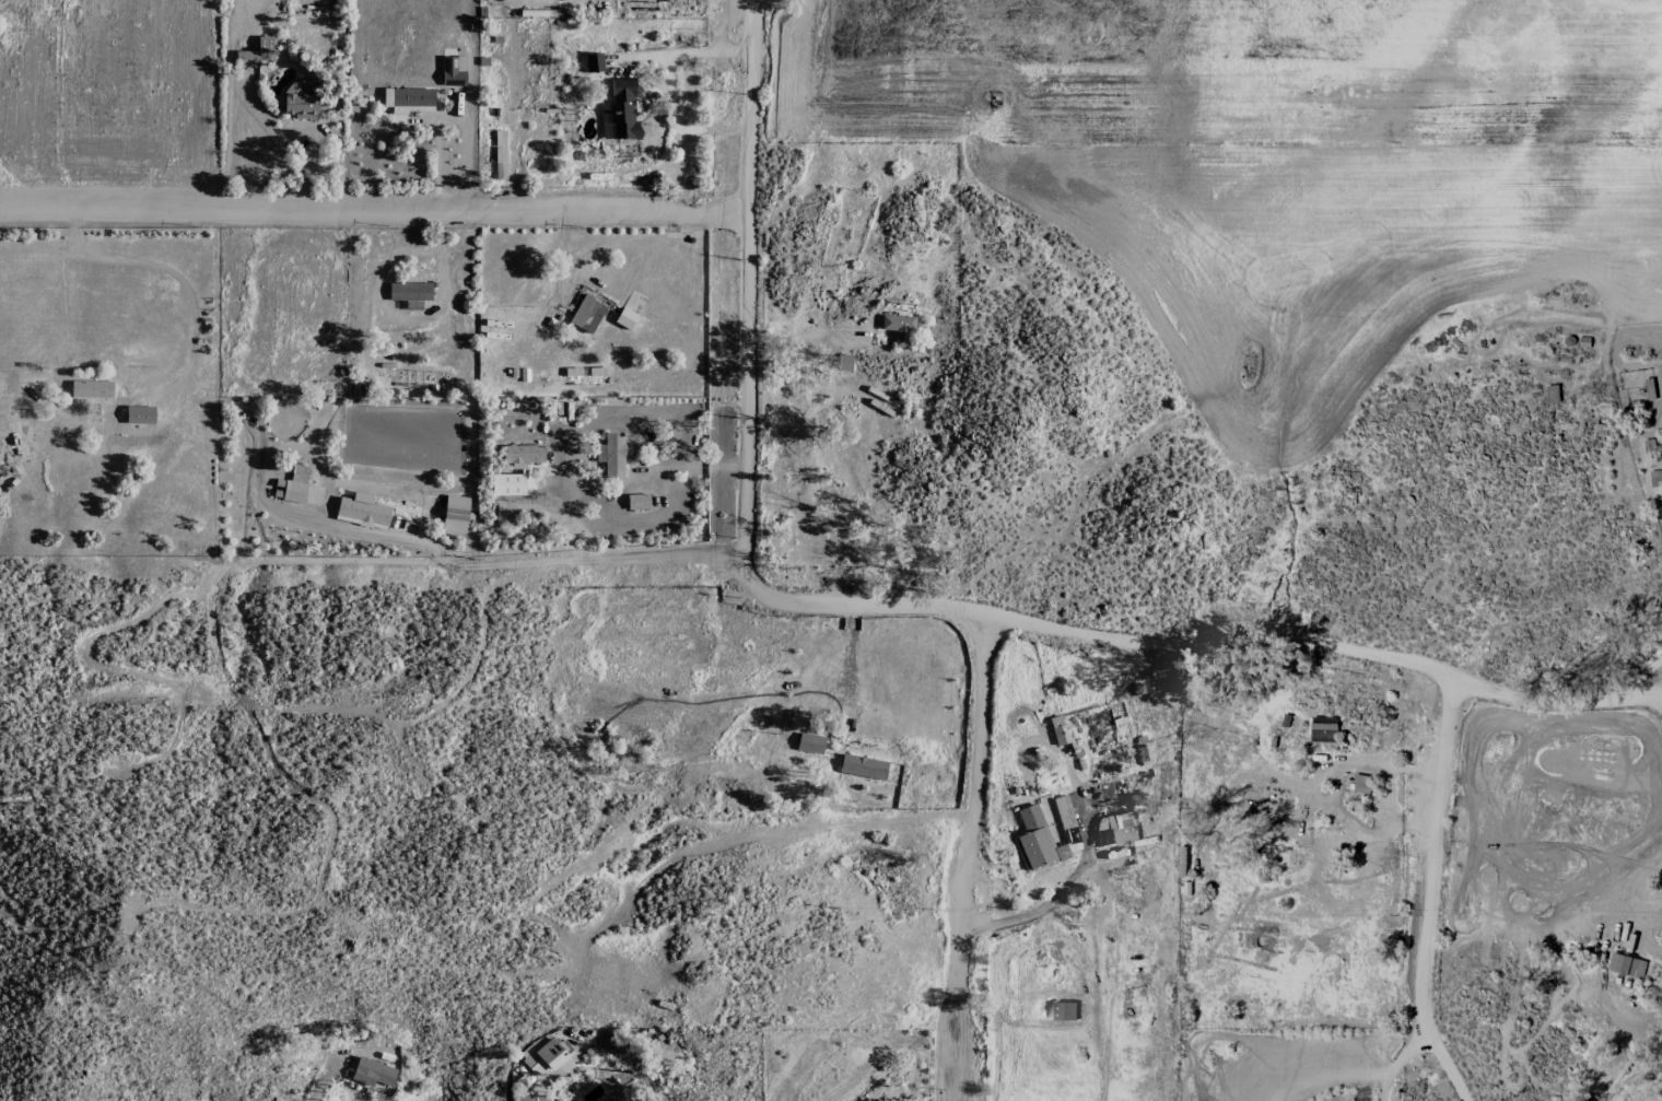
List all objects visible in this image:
building: (264, 44)
road: (686, 56)
building: (246, 59)
building: (593, 62)
building: (453, 71)
building: (301, 99)
building: (409, 99)
building: (620, 112)
road: (374, 211)
road: (748, 279)
building: (410, 294)
building: (587, 314)
building: (899, 329)
building: (843, 363)
building: (91, 389)
building: (1553, 393)
building: (140, 415)
building: (523, 455)
building: (612, 456)
building: (295, 485)
building: (637, 502)
building: (361, 511)
building: (455, 515)
building: (505, 517)
road: (1042, 626)
building: (1323, 728)
building: (1060, 730)
building: (809, 743)
building: (1144, 753)
building: (863, 768)
building: (1361, 783)
building: (1063, 812)
building: (1119, 828)
building: (1034, 839)
road: (978, 863)
road: (1073, 881)
road: (1429, 895)
building: (1623, 963)
building: (1065, 1010)
building: (543, 1058)
road: (1396, 1061)
building: (373, 1075)
road: (319, 1079)
road: (538, 1099)

